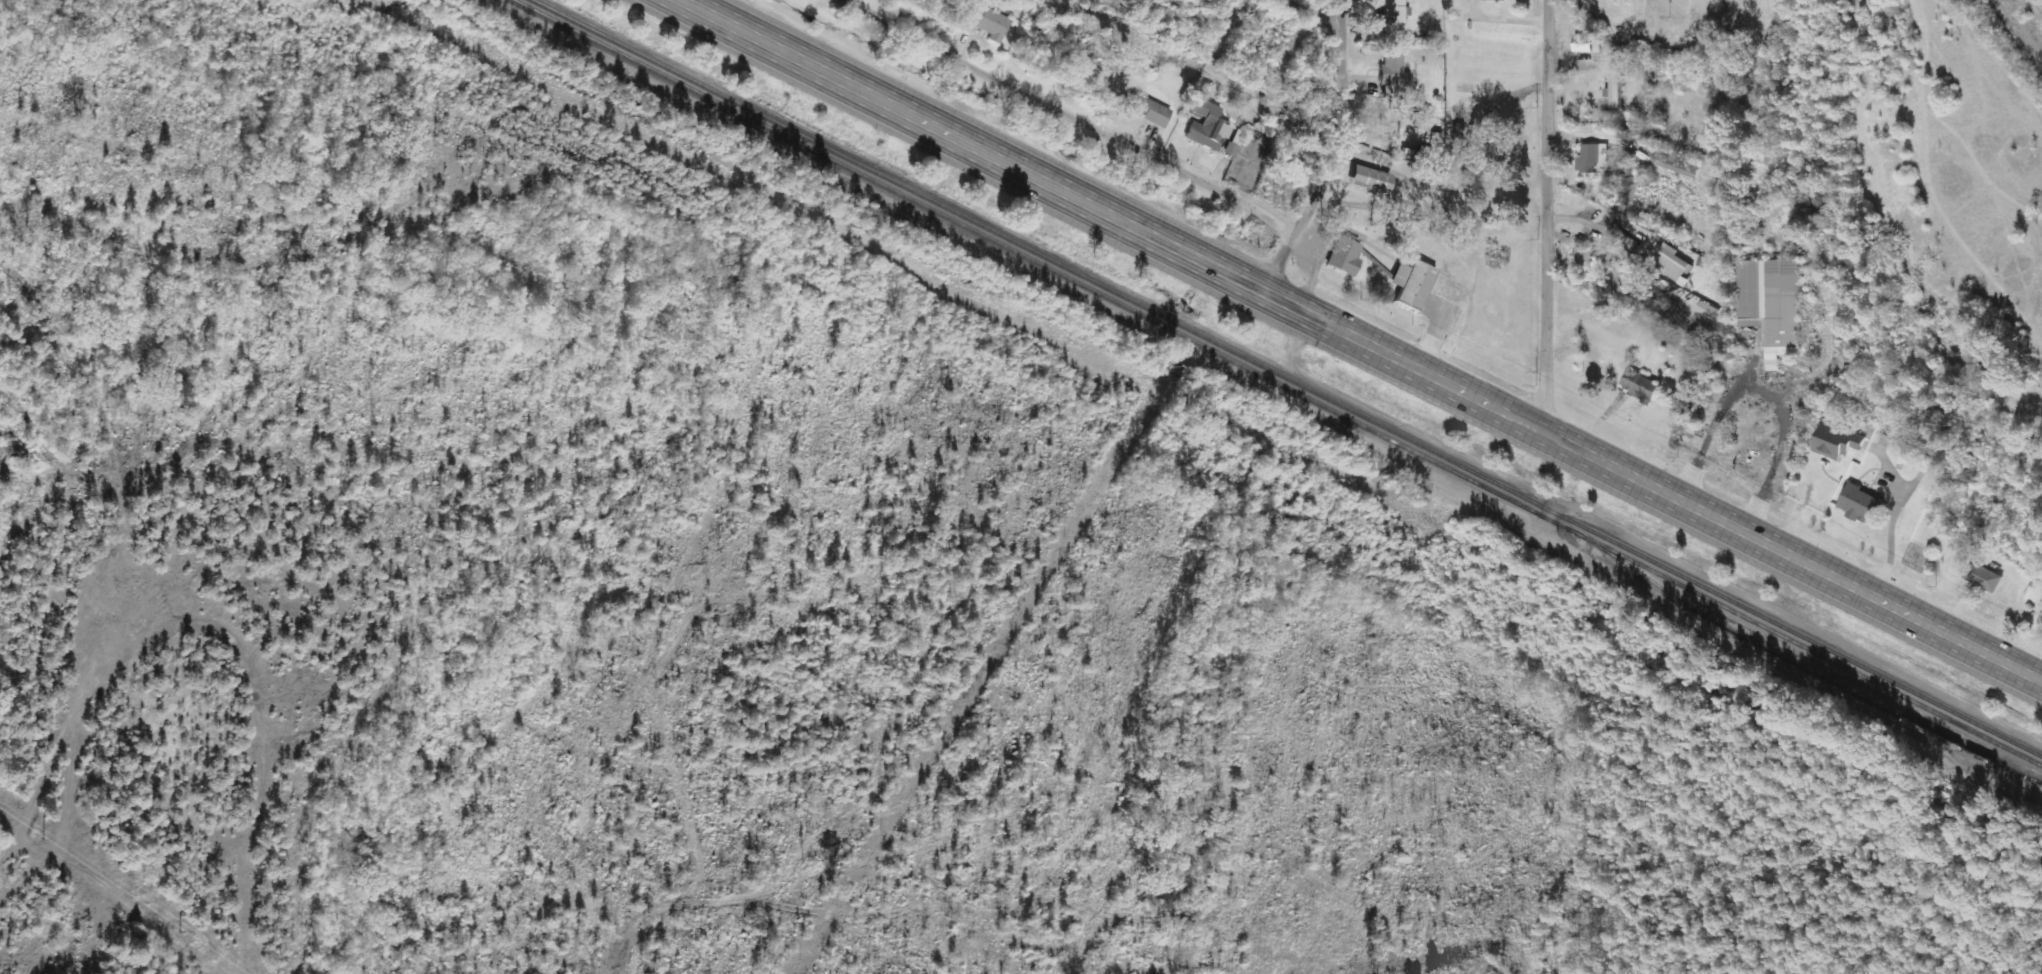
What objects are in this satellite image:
building: (1497, 0)
road: (845, 3)
building: (1395, 11)
road: (1317, 14)
building: (987, 21)
road: (769, 44)
building: (1584, 44)
building: (1393, 75)
building: (1615, 88)
building: (1150, 110)
road: (1070, 117)
road: (1345, 121)
building: (1208, 127)
building: (1592, 157)
building: (1676, 166)
building: (1371, 180)
road: (1542, 212)
road: (1581, 215)
building: (1346, 257)
road: (1274, 259)
building: (1582, 260)
building: (1674, 264)
building: (1413, 284)
building: (1771, 304)
building: (1712, 313)
railway: (1291, 378)
railway: (1276, 383)
road: (1449, 383)
building: (1640, 386)
building: (1836, 441)
building: (1907, 458)
building: (1923, 464)
building: (1862, 505)
building: (1983, 577)
railway: (1802, 669)
building: (2016, 786)

